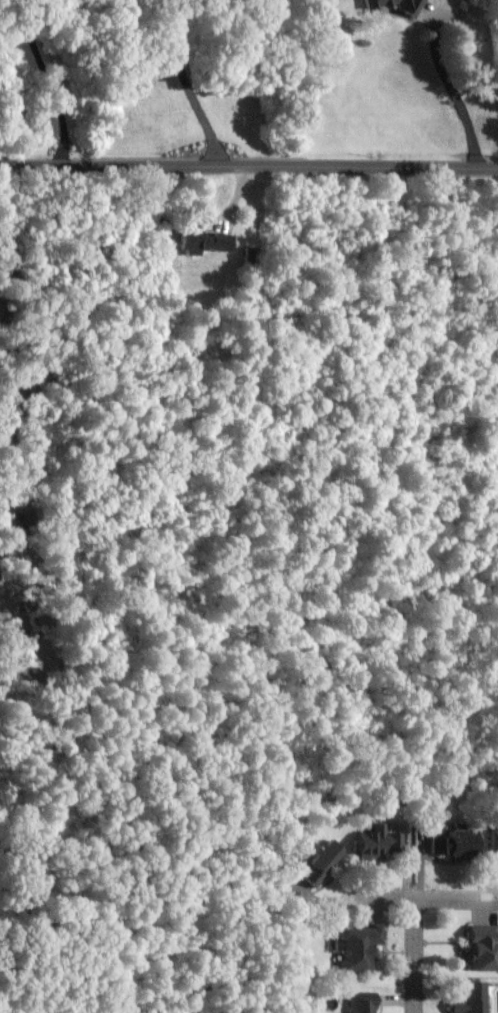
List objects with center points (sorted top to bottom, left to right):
building: (395, 5)
road: (46, 81)
road: (184, 85)
road: (452, 93)
building: (44, 125)
road: (248, 167)
building: (199, 240)
building: (494, 842)
building: (377, 843)
building: (450, 844)
building: (320, 862)
road: (426, 900)
building: (356, 947)
building: (479, 949)
road: (414, 956)
building: (467, 998)
building: (361, 1002)

